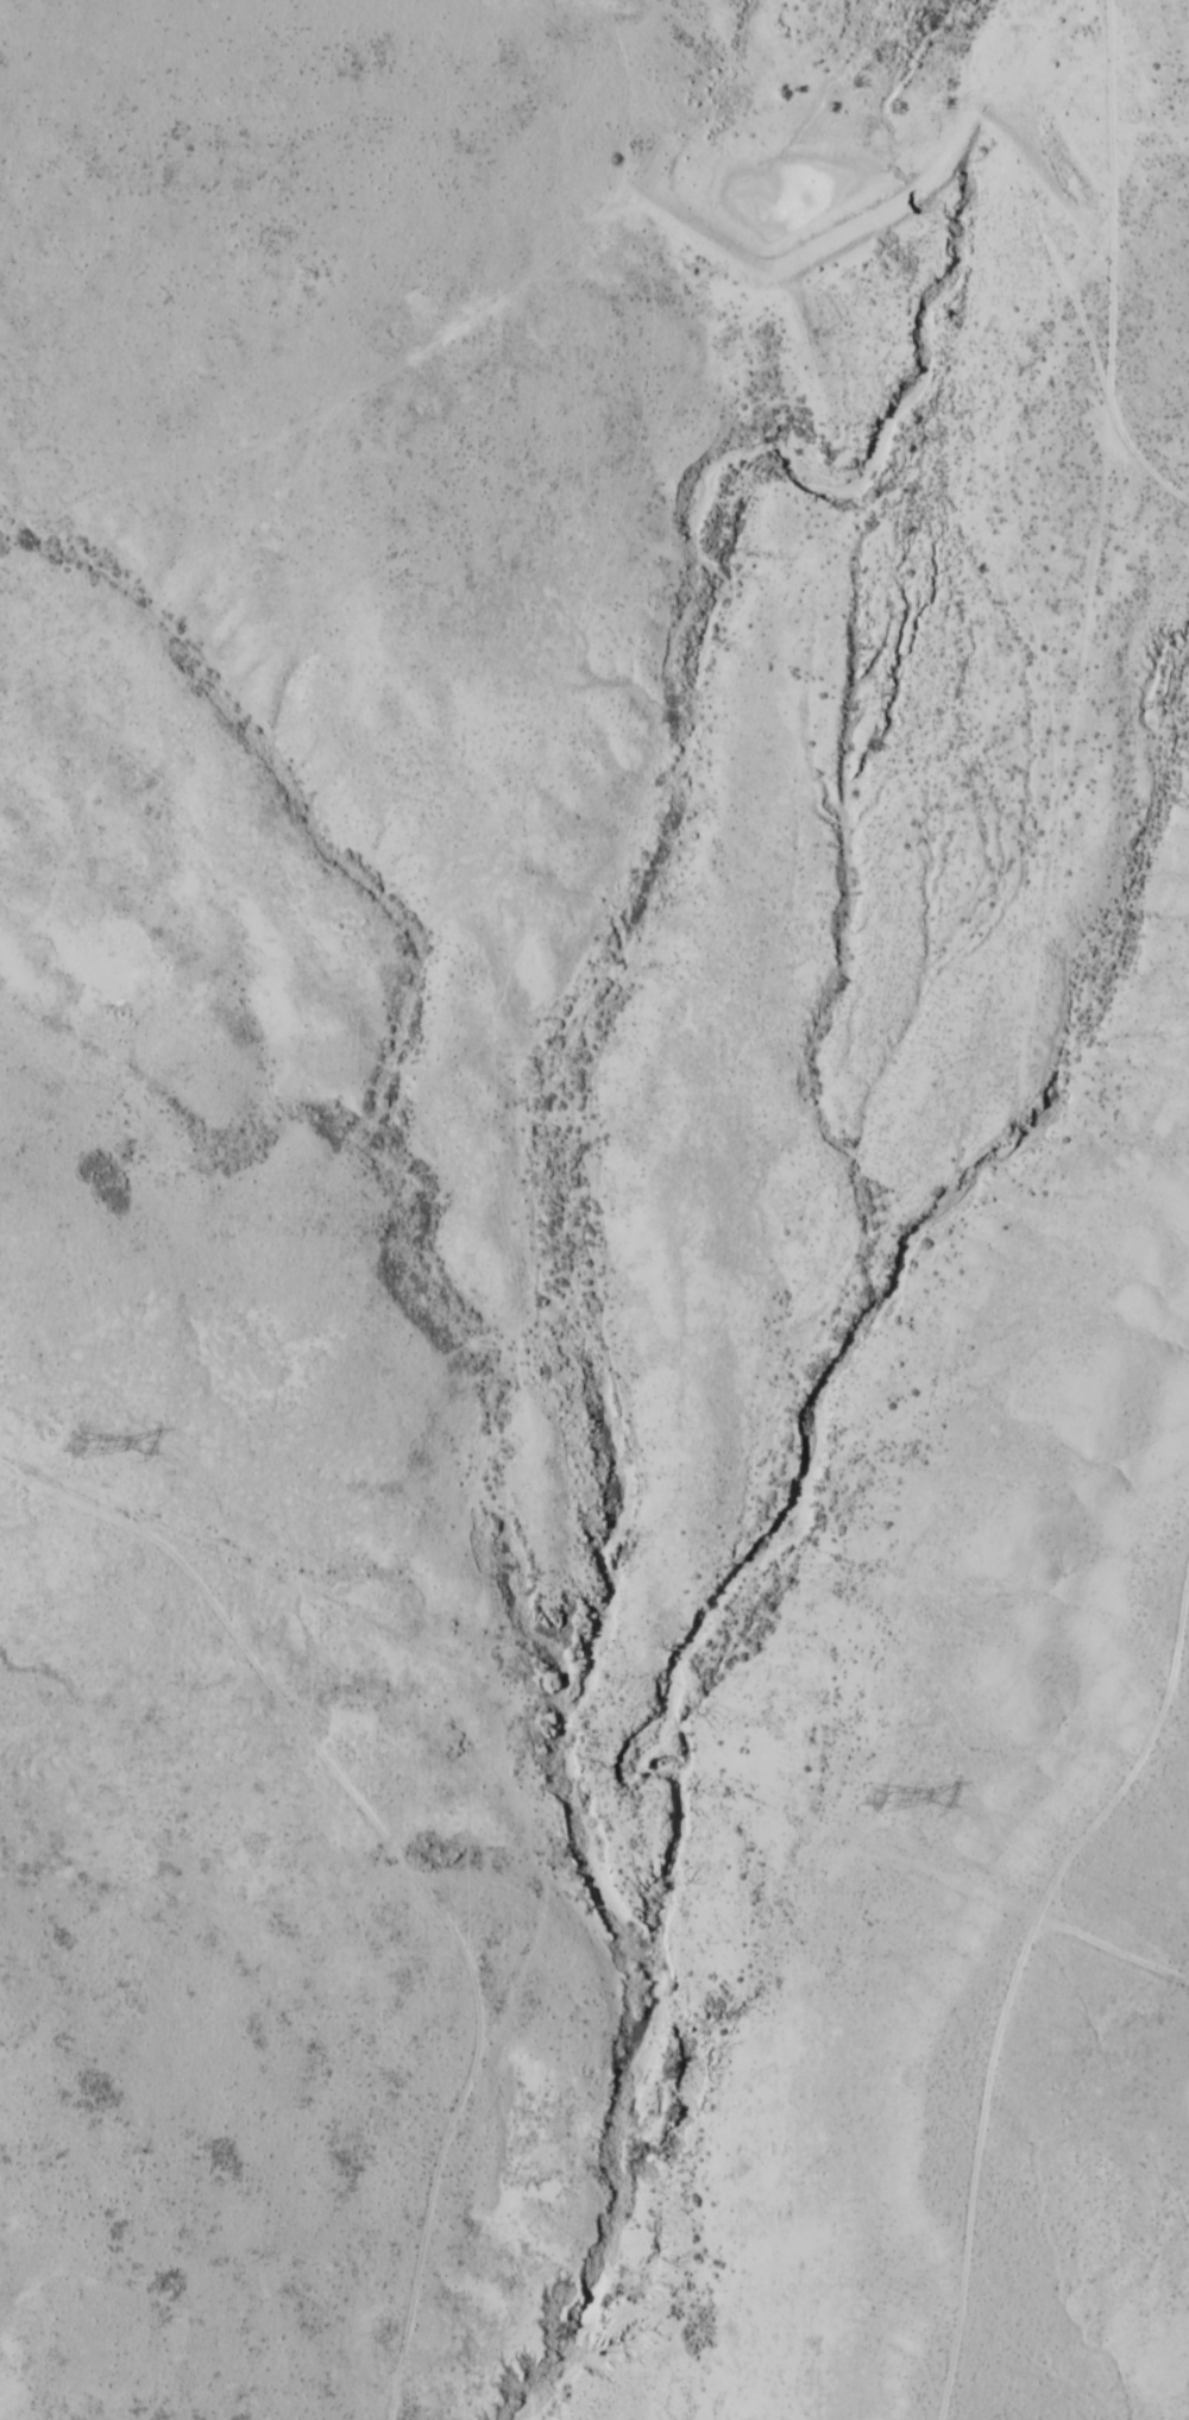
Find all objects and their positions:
road: (950, 181)
road: (419, 346)
power tower: (81, 1451)
power tower: (887, 1800)
road: (1024, 1954)

